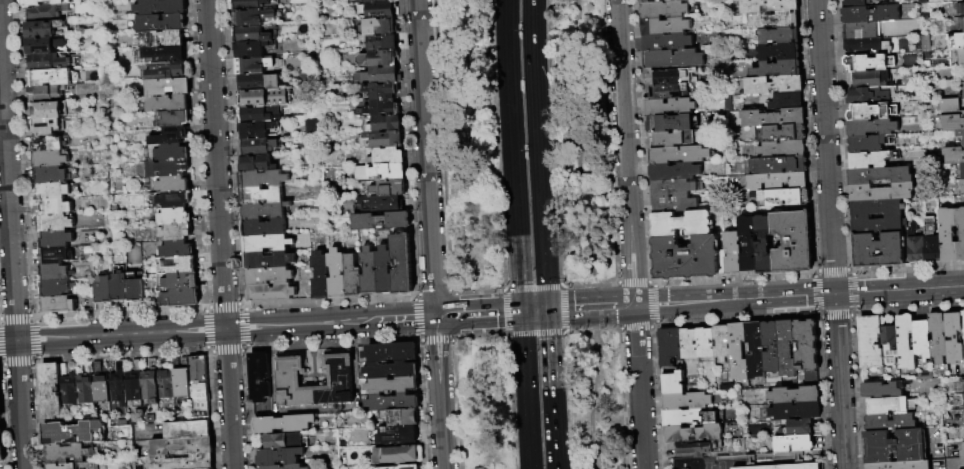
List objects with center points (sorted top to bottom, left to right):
building: (374, 1)
building: (661, 1)
building: (39, 2)
building: (856, 3)
building: (248, 4)
building: (769, 6)
building: (159, 7)
building: (960, 9)
building: (378, 10)
building: (666, 10)
building: (45, 12)
building: (870, 14)
building: (251, 17)
building: (778, 20)
building: (160, 22)
building: (959, 23)
building: (377, 26)
building: (666, 27)
building: (46, 29)
building: (861, 31)
building: (249, 35)
building: (780, 36)
building: (158, 38)
building: (379, 42)
building: (956, 42)
building: (667, 43)
building: (43, 44)
building: (865, 47)
building: (249, 49)
building: (780, 52)
building: (164, 54)
building: (961, 58)
building: (378, 59)
building: (674, 59)
building: (47, 61)
building: (868, 63)
road: (507, 64)
building: (252, 66)
building: (778, 69)
building: (166, 71)
building: (378, 76)
building: (51, 77)
building: (673, 77)
building: (867, 79)
building: (257, 82)
building: (775, 85)
building: (167, 86)
building: (669, 91)
building: (48, 93)
building: (963, 93)
building: (867, 96)
building: (261, 98)
building: (380, 99)
building: (787, 101)
building: (164, 103)
building: (670, 107)
building: (950, 107)
building: (48, 110)
building: (871, 111)
building: (256, 116)
building: (774, 118)
building: (171, 119)
road: (536, 121)
building: (381, 123)
building: (953, 123)
building: (670, 124)
building: (46, 126)
building: (309, 126)
building: (871, 127)
building: (254, 130)
building: (782, 134)
building: (169, 136)
building: (960, 136)
building: (670, 139)
building: (381, 140)
road: (580, 142)
road: (606, 142)
building: (46, 143)
building: (866, 143)
road: (440, 145)
building: (257, 147)
building: (783, 149)
building: (171, 152)
building: (683, 155)
building: (386, 156)
building: (954, 156)
building: (48, 158)
building: (869, 159)
building: (255, 164)
building: (778, 165)
building: (167, 168)
building: (962, 170)
building: (380, 172)
building: (675, 172)
building: (50, 175)
building: (879, 175)
building: (261, 179)
building: (777, 182)
building: (173, 184)
building: (389, 188)
building: (675, 188)
building: (962, 188)
building: (880, 192)
building: (259, 195)
building: (52, 198)
building: (784, 198)
building: (168, 199)
building: (380, 203)
building: (674, 204)
building: (877, 208)
building: (263, 211)
building: (176, 215)
road: (516, 220)
building: (53, 221)
building: (380, 221)
building: (683, 224)
building: (877, 225)
building: (263, 228)
building: (174, 232)
building: (960, 232)
road: (220, 234)
road: (430, 234)
park: (530, 234)
road: (629, 234)
road: (830, 234)
building: (947, 235)
building: (54, 239)
building: (931, 241)
building: (793, 242)
building: (265, 243)
building: (749, 245)
building: (765, 245)
building: (915, 245)
building: (176, 249)
building: (878, 250)
building: (733, 254)
building: (53, 255)
building: (688, 258)
building: (267, 260)
road: (11, 264)
building: (179, 264)
building: (402, 264)
building: (383, 271)
building: (53, 272)
building: (368, 272)
building: (335, 275)
building: (266, 276)
building: (319, 276)
building: (350, 276)
road: (546, 276)
building: (180, 281)
road: (632, 283)
road: (604, 284)
road: (577, 285)
building: (119, 286)
building: (54, 287)
building: (134, 287)
road: (540, 287)
road: (474, 290)
building: (102, 291)
road: (431, 292)
building: (270, 293)
traffic signals: (834, 294)
road: (799, 296)
building: (181, 297)
road: (504, 302)
road: (652, 303)
building: (57, 304)
road: (591, 307)
road: (561, 308)
traffic signals: (548, 310)
road: (535, 311)
traffic signals: (522, 312)
building: (963, 313)
road: (412, 317)
road: (261, 326)
road: (634, 328)
road: (590, 329)
road: (542, 332)
road: (514, 333)
building: (963, 335)
road: (477, 336)
building: (937, 337)
building: (953, 337)
building: (922, 339)
road: (435, 340)
building: (870, 342)
building: (905, 342)
building: (705, 343)
building: (721, 343)
building: (689, 344)
building: (889, 344)
building: (805, 345)
building: (669, 347)
building: (770, 347)
building: (786, 348)
building: (753, 350)
building: (391, 352)
building: (737, 352)
road: (524, 363)
building: (391, 370)
building: (259, 376)
building: (340, 380)
building: (150, 382)
building: (181, 383)
building: (100, 384)
building: (134, 384)
building: (165, 384)
building: (672, 384)
building: (117, 385)
building: (392, 385)
building: (725, 388)
building: (85, 389)
building: (198, 389)
road: (552, 389)
building: (882, 389)
building: (51, 390)
building: (69, 390)
building: (794, 396)
road: (593, 399)
building: (686, 401)
building: (393, 402)
building: (889, 405)
building: (794, 411)
building: (963, 412)
building: (401, 417)
building: (687, 418)
building: (890, 422)
building: (282, 423)
building: (799, 427)
building: (187, 430)
building: (72, 433)
building: (693, 434)
building: (397, 435)
building: (1, 436)
building: (282, 441)
road: (528, 441)
building: (792, 444)
building: (181, 446)
building: (894, 446)
building: (698, 448)
building: (962, 451)
building: (70, 454)
building: (395, 454)
building: (1, 455)
building: (279, 456)
building: (180, 462)
building: (900, 465)
building: (61, 466)
building: (784, 466)
building: (283, 467)
building: (406, 467)

